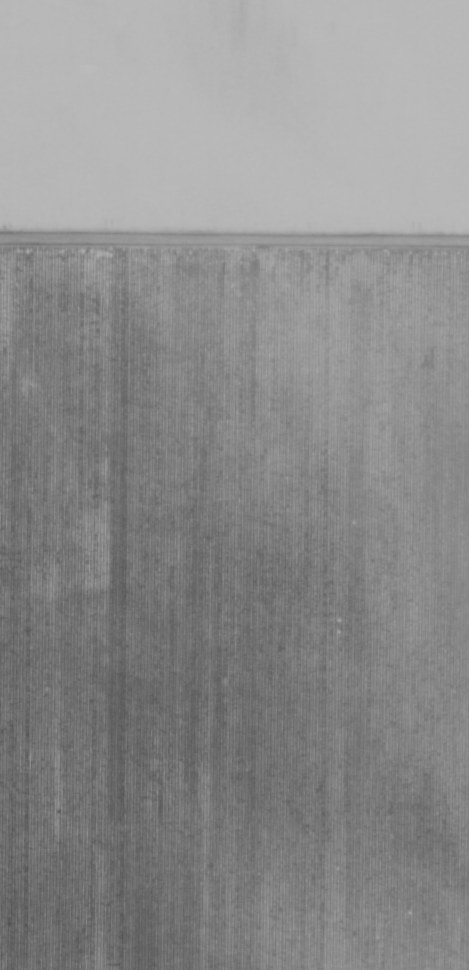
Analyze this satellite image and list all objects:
crop: (234, 485)

